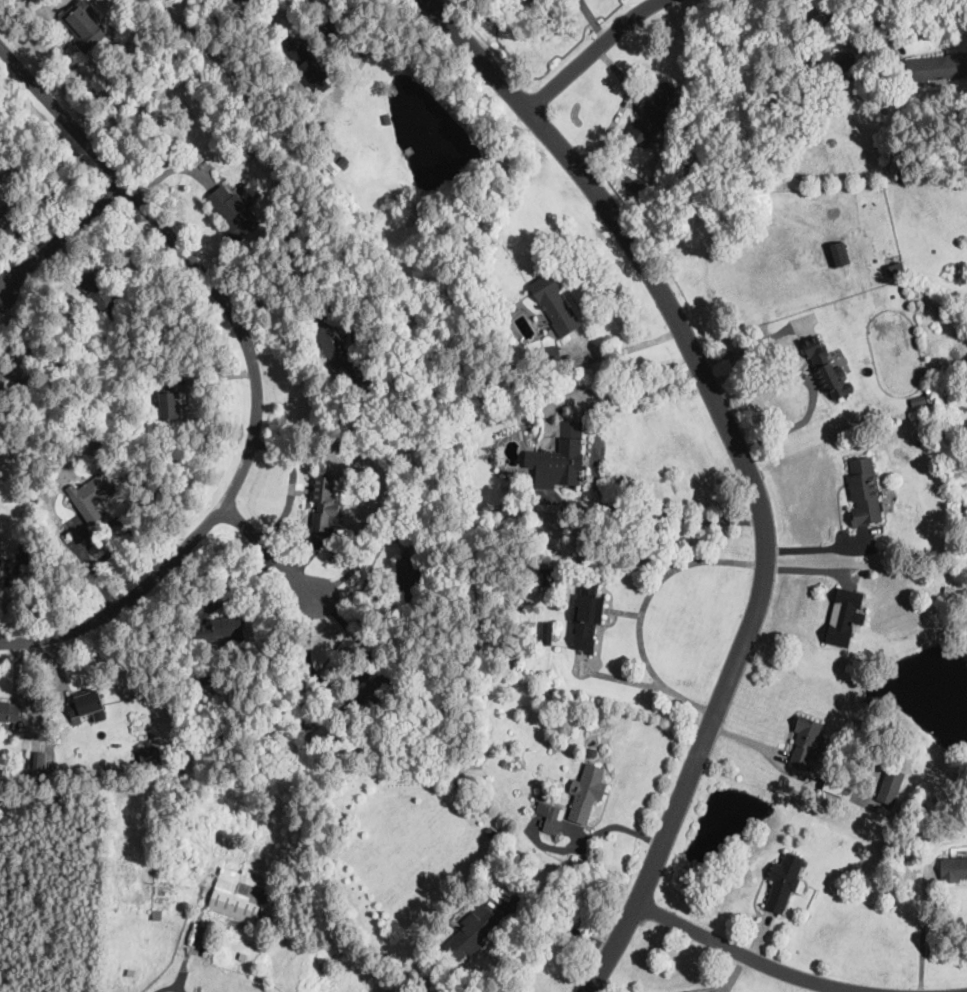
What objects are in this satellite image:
building: (84, 26)
road: (379, 41)
road: (594, 53)
road: (476, 55)
building: (825, 60)
building: (937, 67)
building: (308, 68)
building: (372, 86)
road: (621, 111)
building: (650, 114)
building: (389, 119)
building: (796, 134)
building: (335, 162)
building: (674, 166)
building: (233, 212)
building: (1, 216)
road: (66, 235)
building: (839, 254)
building: (893, 271)
building: (96, 293)
building: (554, 304)
building: (512, 307)
road: (751, 345)
road: (626, 347)
building: (338, 349)
building: (548, 354)
building: (827, 369)
road: (256, 372)
building: (24, 375)
building: (1, 382)
building: (501, 387)
road: (813, 391)
building: (168, 399)
building: (91, 447)
building: (559, 460)
road: (292, 485)
road: (599, 487)
building: (864, 493)
building: (91, 496)
building: (324, 503)
road: (765, 536)
road: (817, 547)
road: (271, 555)
building: (0, 571)
building: (545, 575)
building: (409, 581)
road: (658, 581)
building: (949, 590)
building: (588, 616)
building: (845, 618)
building: (217, 631)
building: (547, 632)
building: (206, 681)
road: (652, 684)
building: (368, 693)
building: (83, 705)
building: (9, 714)
building: (804, 742)
building: (343, 753)
building: (592, 753)
building: (153, 755)
building: (38, 760)
building: (505, 762)
building: (439, 783)
building: (890, 786)
building: (838, 790)
building: (586, 793)
building: (549, 818)
road: (616, 826)
building: (805, 864)
building: (953, 869)
building: (783, 882)
building: (287, 890)
building: (237, 895)
building: (157, 913)
road: (558, 921)
road: (922, 930)
building: (472, 933)
road: (748, 955)
road: (727, 983)
road: (172, 986)
road: (609, 987)
road: (819, 987)

